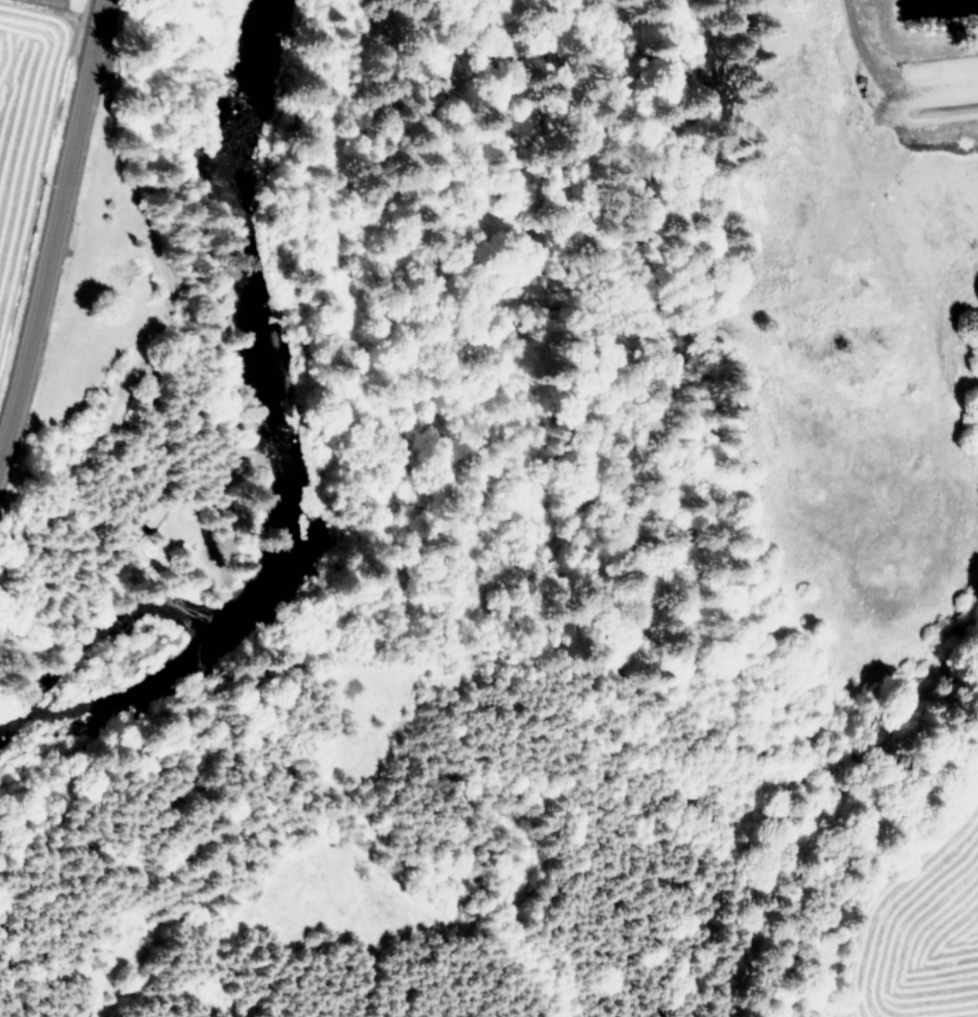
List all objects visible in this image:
road: (886, 84)
crop: (57, 224)
road: (55, 231)
crop: (845, 288)
crop: (940, 952)

